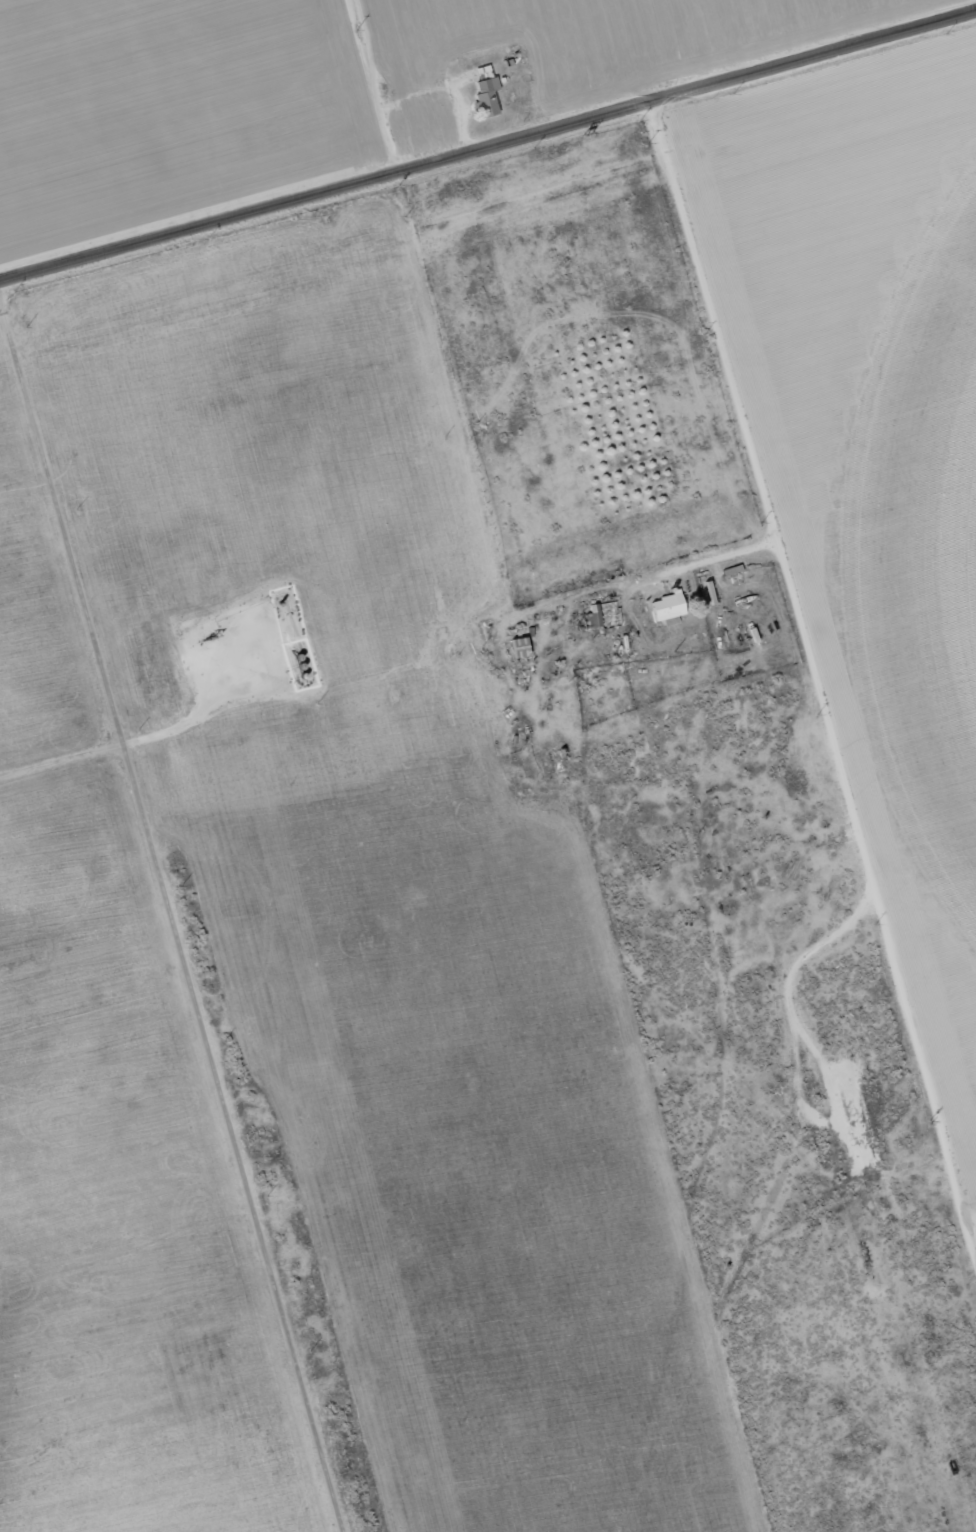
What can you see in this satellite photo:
building: (487, 97)
road: (488, 144)
building: (668, 608)
road: (804, 731)

